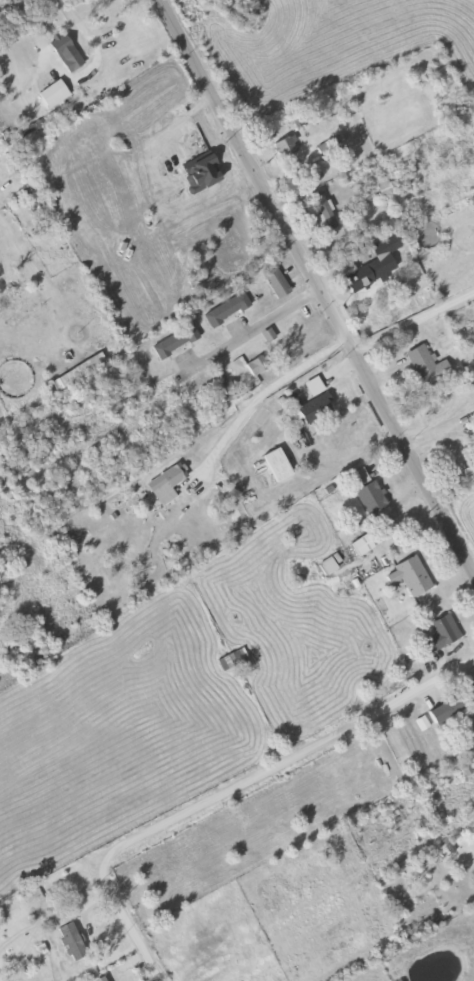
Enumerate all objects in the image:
road: (15, 9)
building: (50, 95)
building: (285, 148)
building: (201, 173)
building: (384, 188)
building: (324, 211)
building: (376, 265)
building: (276, 283)
road: (315, 285)
building: (19, 307)
building: (226, 311)
building: (175, 343)
road: (196, 346)
building: (256, 367)
building: (427, 368)
building: (314, 403)
road: (449, 460)
building: (277, 465)
building: (167, 484)
building: (368, 493)
building: (367, 542)
building: (413, 576)
building: (439, 634)
building: (232, 660)
building: (472, 689)
building: (439, 713)
building: (463, 770)
road: (226, 791)
building: (71, 941)
building: (101, 979)

